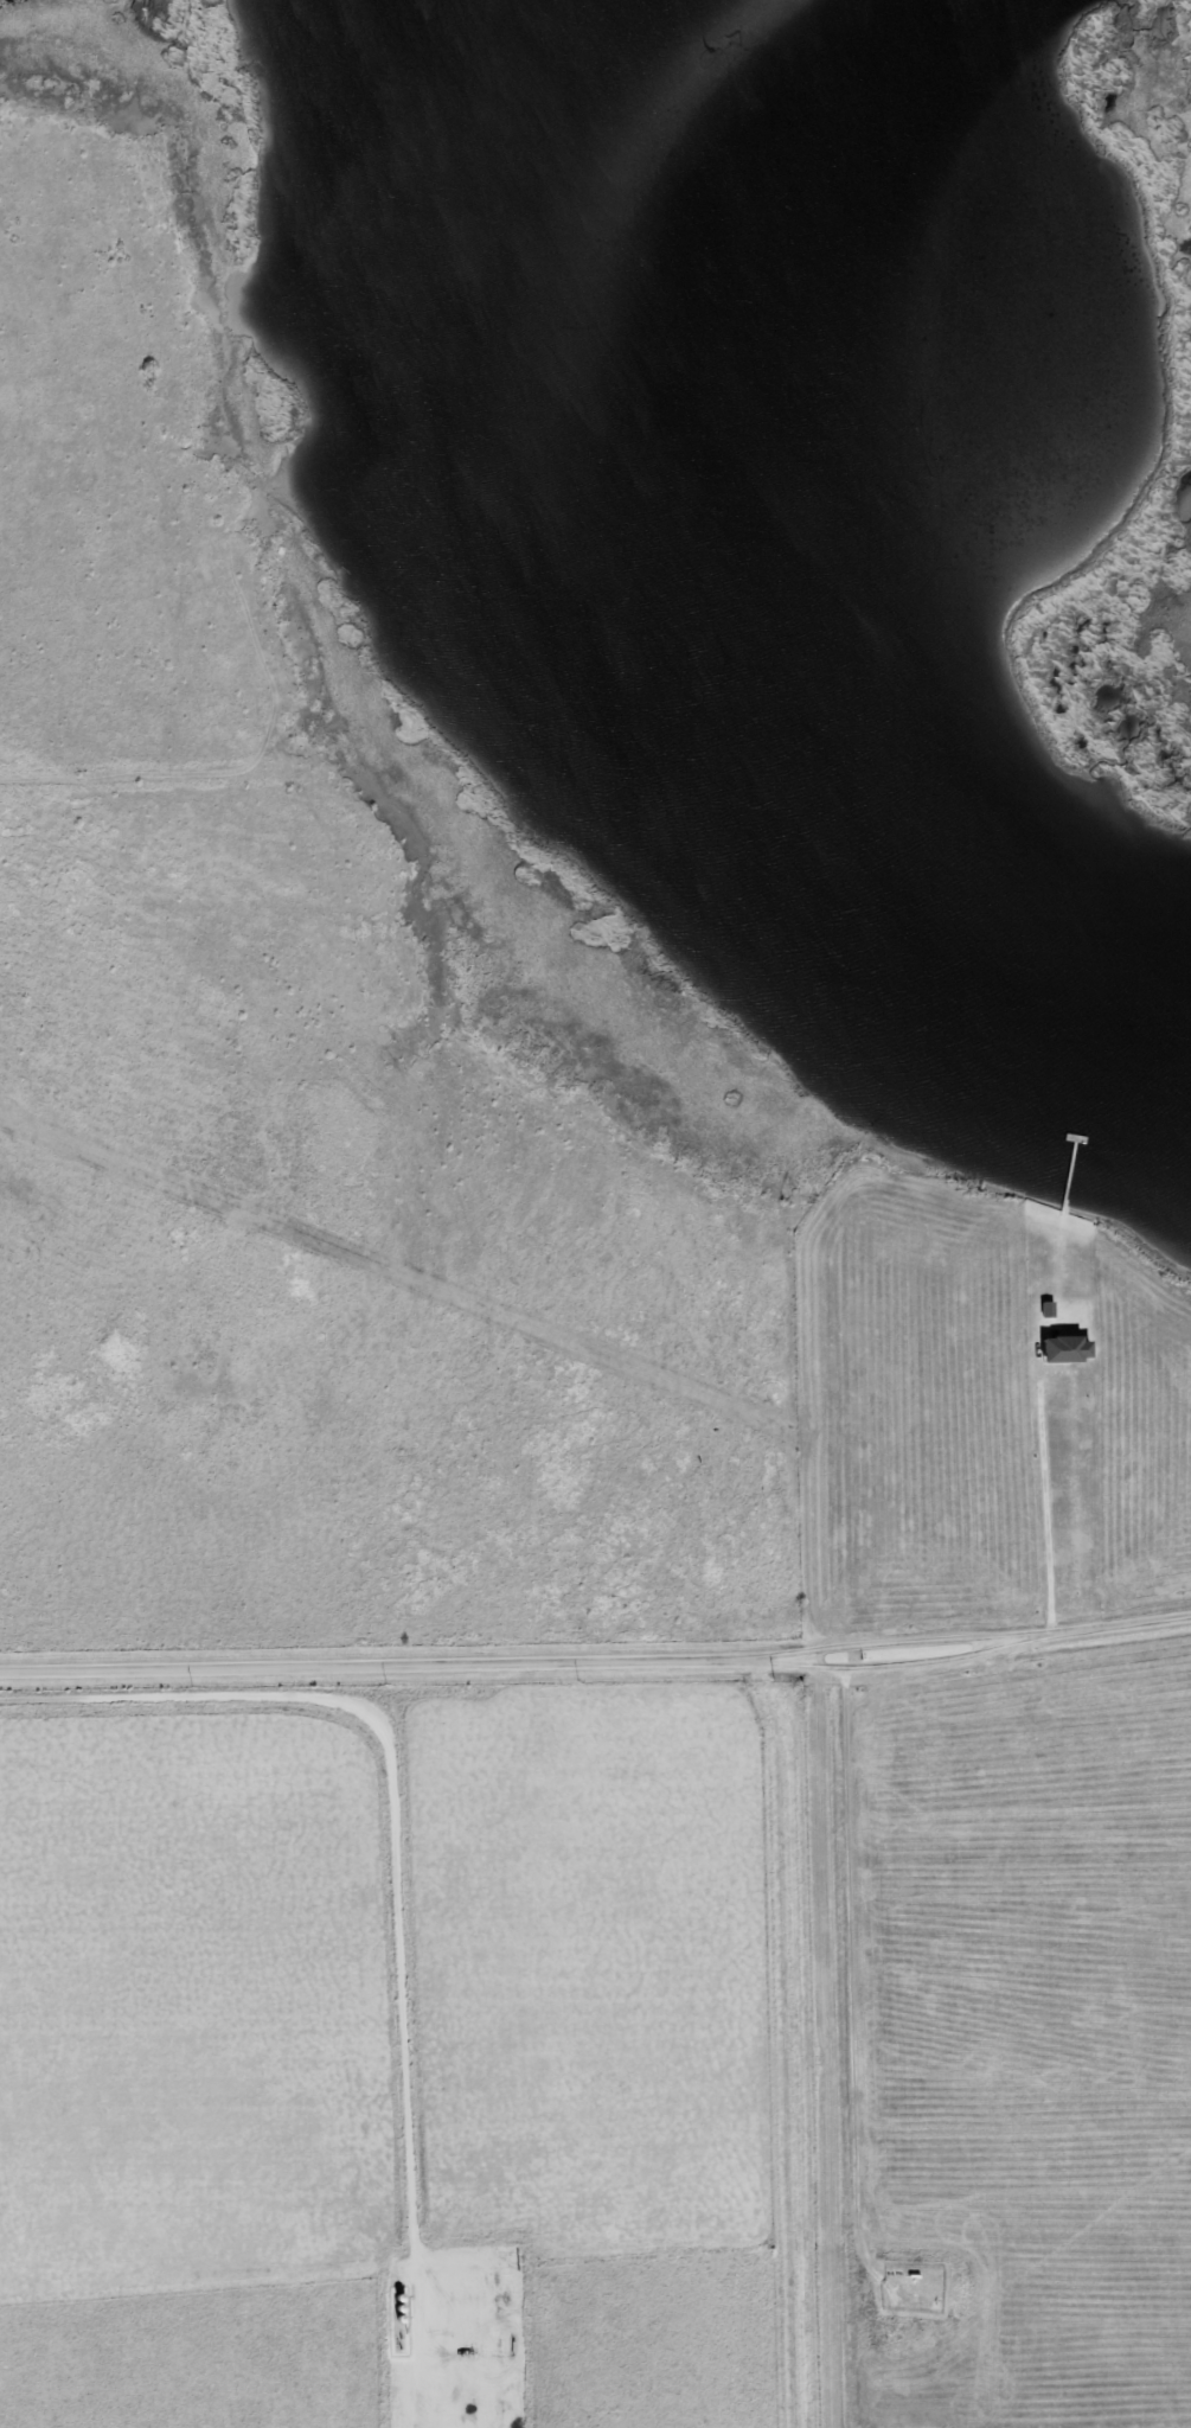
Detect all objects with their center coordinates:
building: (1072, 1349)

